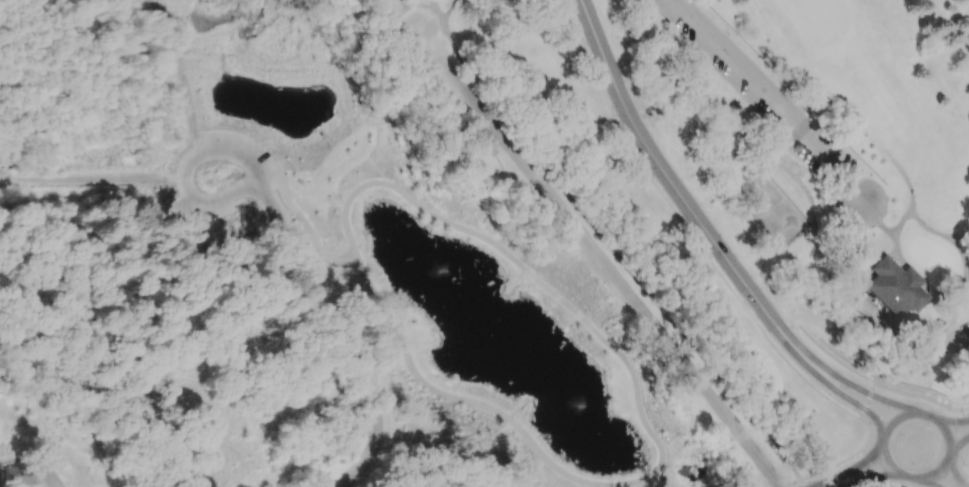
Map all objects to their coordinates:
road: (441, 14)
road: (452, 14)
parking lot: (758, 85)
road: (773, 100)
parking lot: (468, 101)
road: (170, 138)
parking lot: (249, 154)
road: (500, 158)
park: (829, 164)
road: (189, 166)
road: (330, 170)
road: (666, 171)
road: (911, 192)
parking lot: (208, 205)
park: (773, 208)
road: (305, 221)
road: (878, 222)
road: (687, 229)
road: (927, 230)
road: (959, 236)
road: (600, 257)
road: (622, 257)
park: (392, 263)
road: (965, 265)
road: (916, 273)
building: (895, 286)
road: (953, 319)
road: (347, 334)
building: (965, 335)
road: (338, 339)
road: (949, 347)
road: (842, 380)
road: (827, 383)
road: (931, 402)
road: (868, 406)
road: (642, 414)
road: (957, 421)
road: (962, 440)
road: (884, 458)
road: (20, 461)
road: (856, 469)
road: (52, 472)
building: (17, 474)
road: (960, 474)
road: (863, 476)
road: (936, 483)
road: (790, 484)
road: (801, 484)

